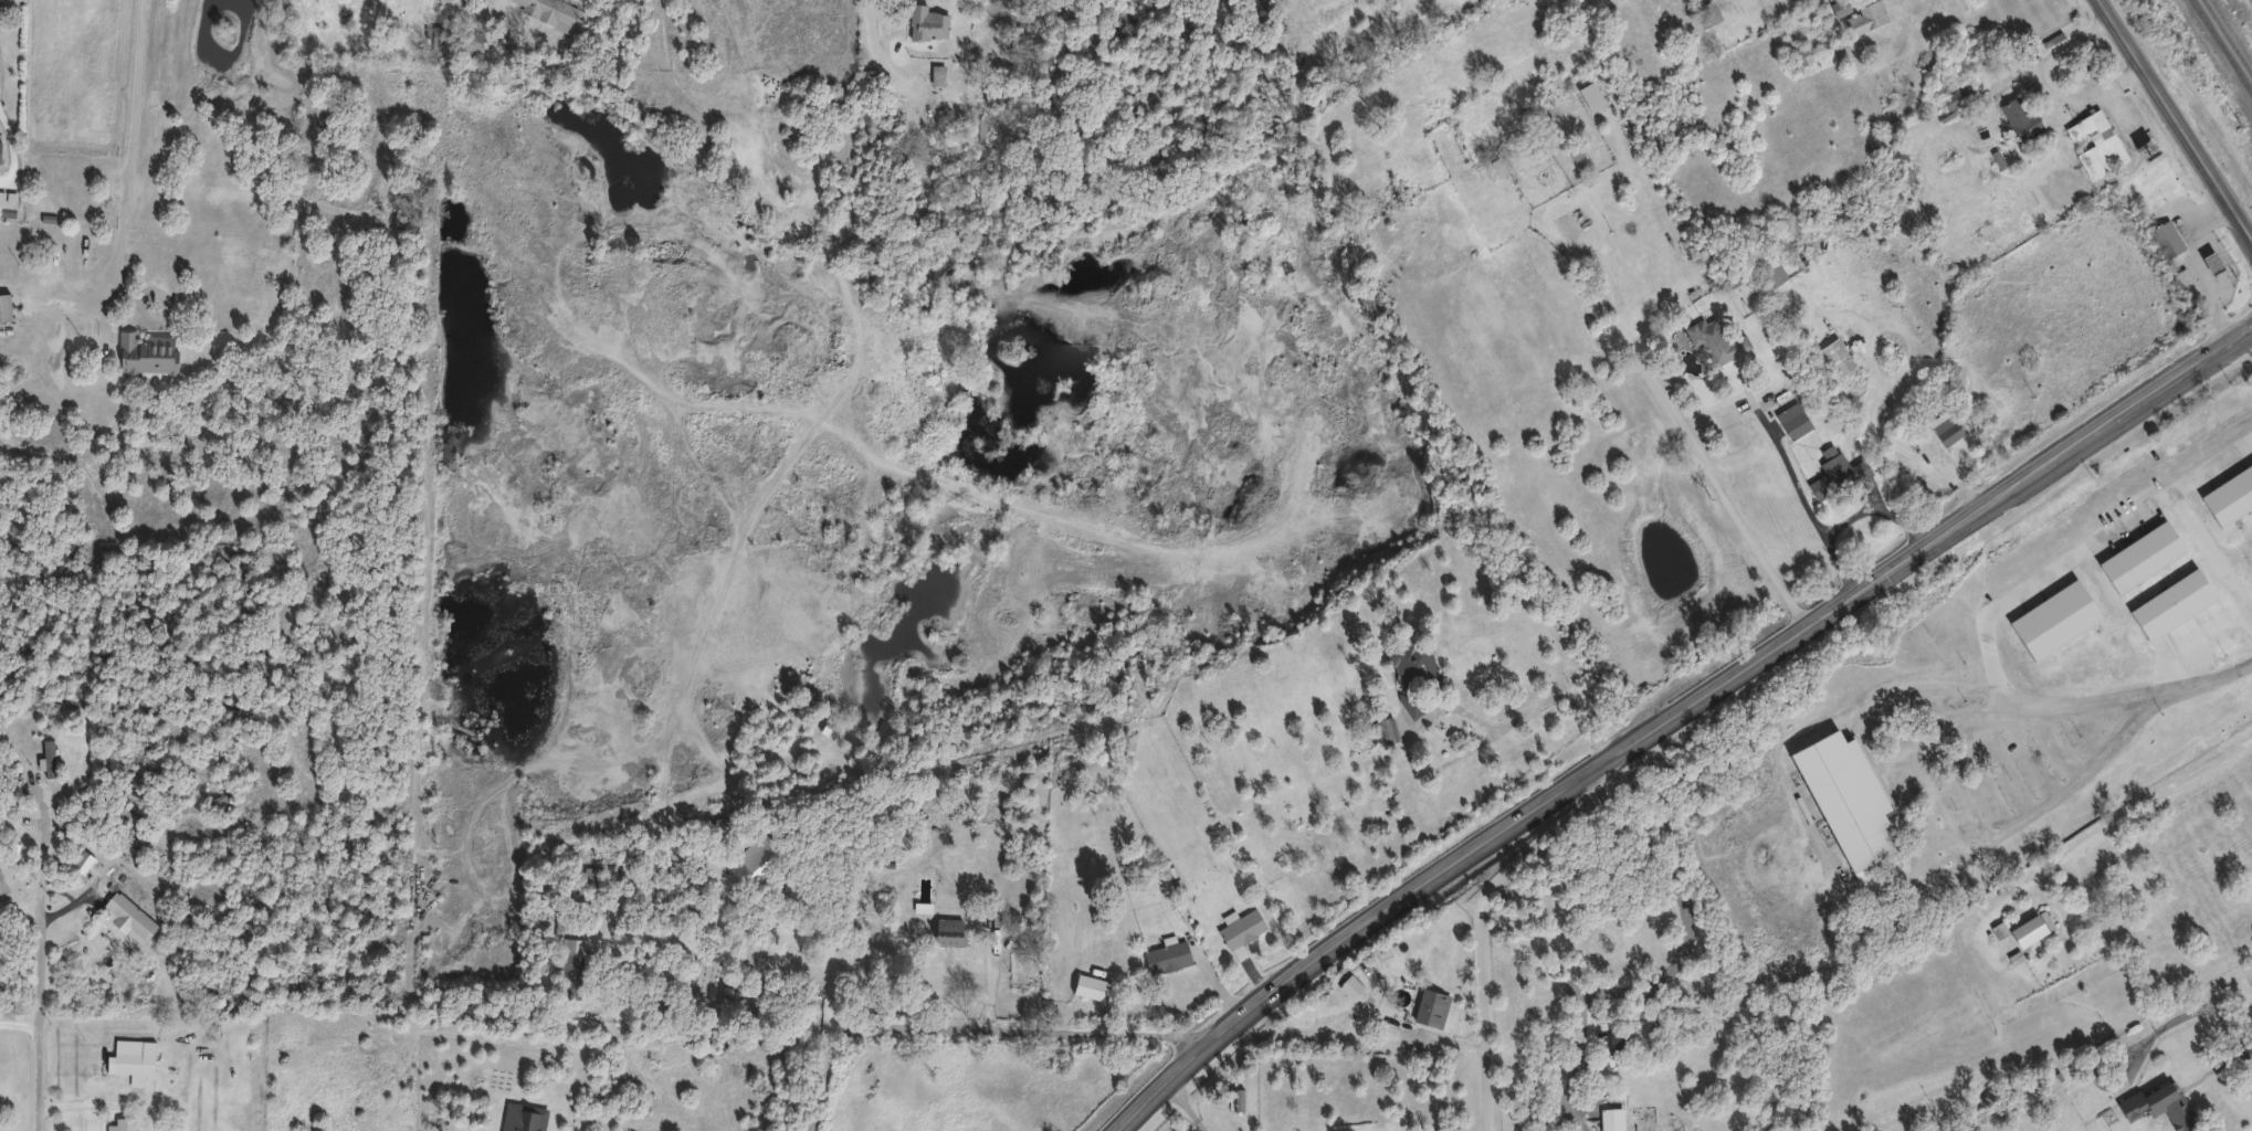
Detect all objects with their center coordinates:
building: (1839, 7)
building: (546, 10)
building: (1864, 17)
railway: (2228, 36)
building: (470, 40)
railway: (2222, 45)
building: (1798, 57)
building: (936, 74)
road: (2052, 82)
building: (1959, 94)
road: (789, 114)
building: (2018, 117)
road: (2174, 123)
road: (131, 146)
building: (1533, 165)
building: (1464, 182)
building: (1888, 222)
building: (2165, 237)
road: (2197, 269)
building: (1770, 271)
building: (3, 306)
building: (1712, 341)
building: (144, 352)
building: (1835, 357)
building: (1790, 420)
road: (1682, 425)
building: (1946, 431)
road: (2053, 464)
building: (2239, 474)
road: (1793, 486)
road: (1894, 503)
building: (2181, 538)
road: (2211, 552)
road: (1829, 611)
road: (1982, 623)
building: (1409, 673)
road: (1456, 709)
building: (41, 749)
building: (1842, 797)
road: (1937, 826)
road: (2111, 827)
building: (19, 836)
road: (46, 848)
road: (1449, 866)
building: (591, 876)
road: (18, 907)
building: (128, 916)
building: (1239, 928)
building: (947, 931)
road: (769, 933)
building: (1165, 956)
road: (41, 960)
building: (570, 968)
building: (1348, 985)
road: (987, 986)
building: (1088, 986)
road: (1485, 989)
building: (1429, 1007)
road: (1578, 1010)
road: (1378, 1022)
road: (19, 1026)
road: (977, 1032)
building: (1617, 1040)
road: (170, 1060)
building: (128, 1065)
building: (1232, 1099)
road: (1186, 1106)
building: (2157, 1106)
building: (1610, 1119)
building: (123, 1123)

